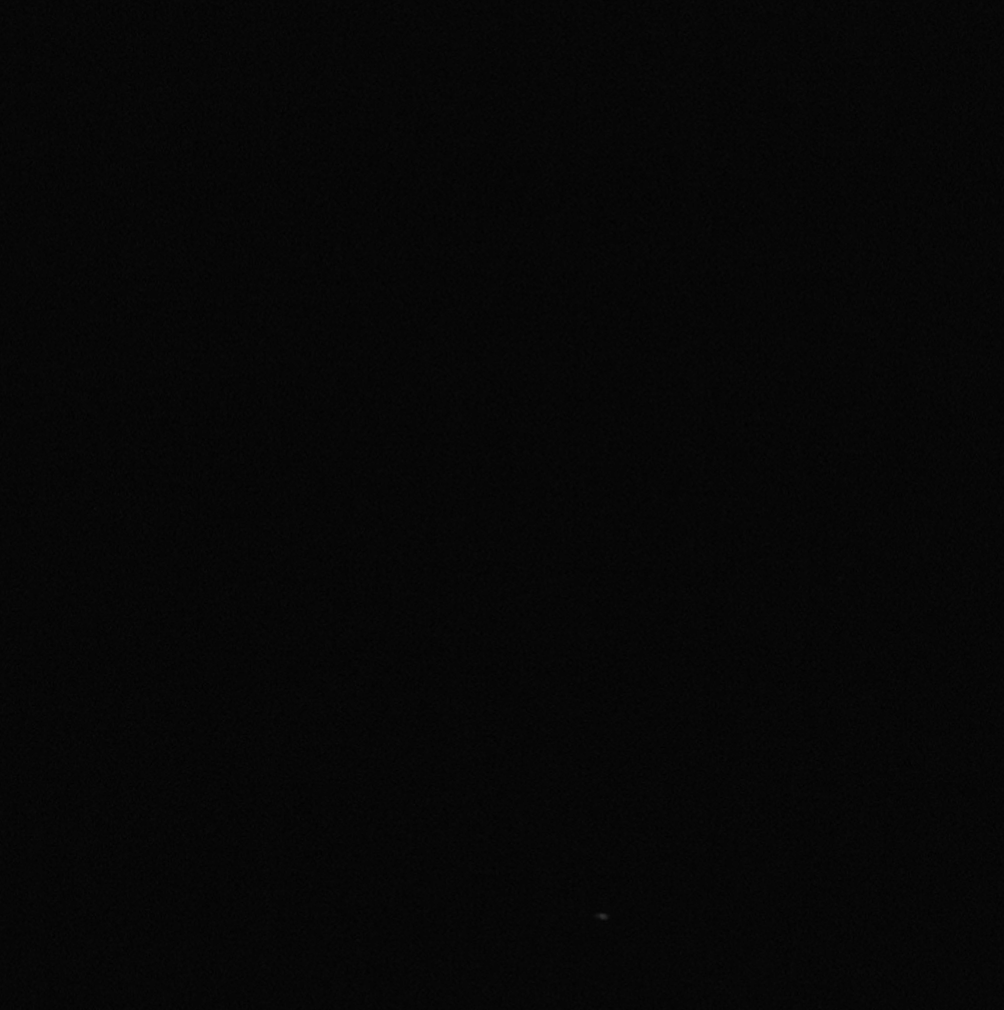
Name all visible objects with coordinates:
river: (836, 515)

